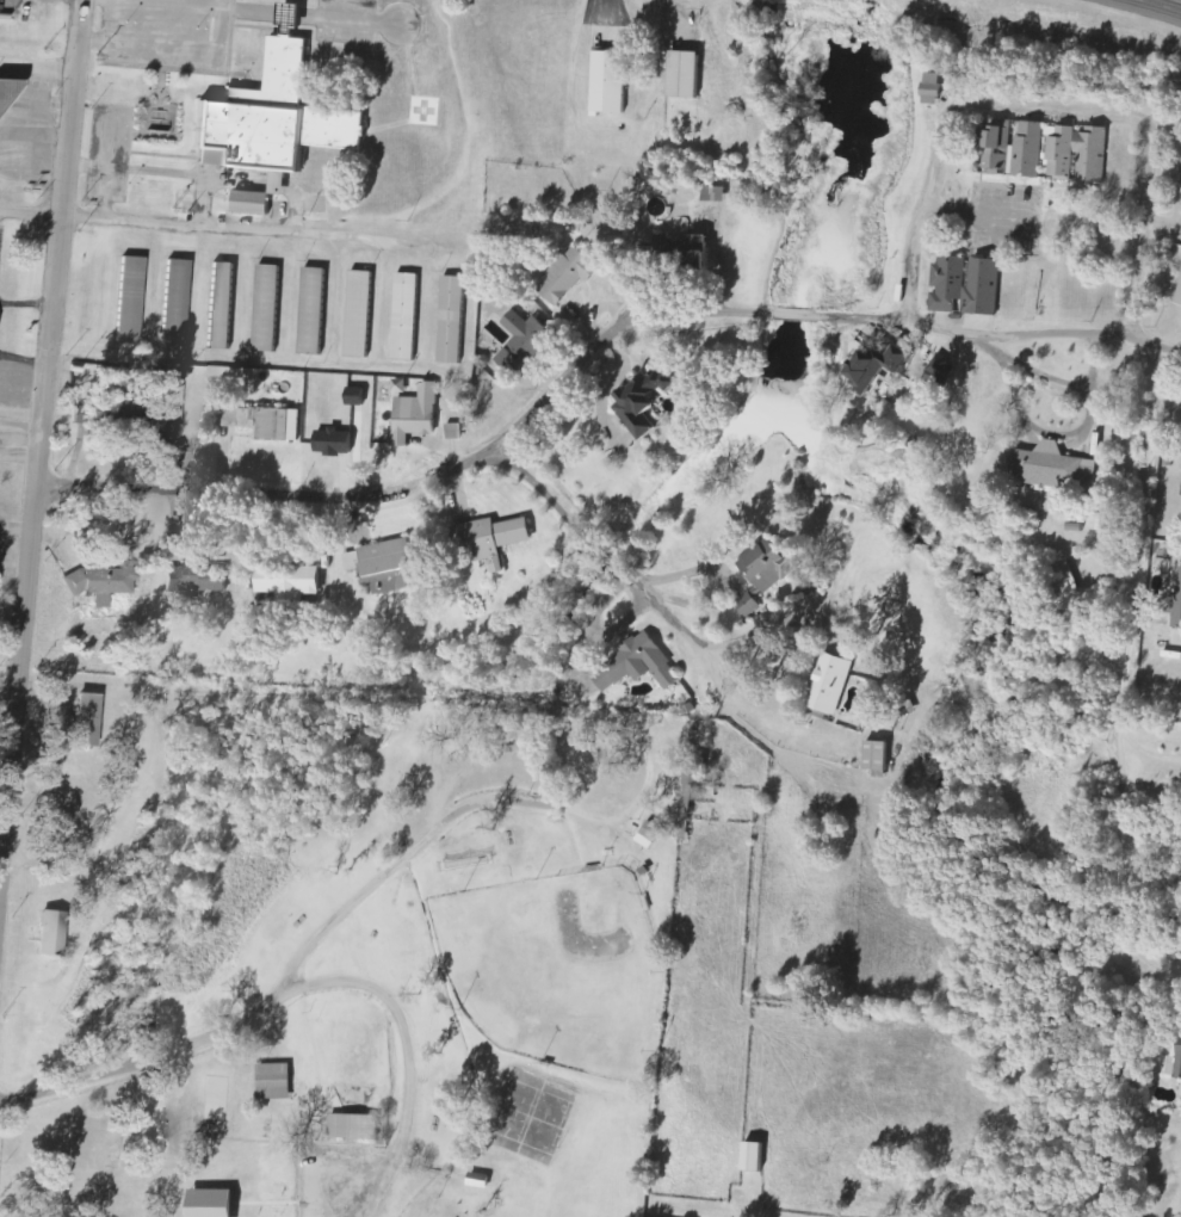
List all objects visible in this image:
road: (1151, 8)
building: (690, 75)
building: (613, 84)
building: (935, 89)
road: (1047, 105)
building: (0, 106)
building: (276, 119)
building: (1016, 150)
building: (1078, 154)
building: (717, 194)
building: (256, 203)
road: (196, 226)
building: (690, 248)
building: (574, 276)
building: (952, 285)
building: (987, 288)
building: (131, 299)
building: (177, 302)
building: (1180, 303)
building: (223, 305)
building: (268, 309)
building: (314, 311)
building: (360, 314)
building: (407, 317)
building: (453, 320)
building: (526, 342)
road: (593, 353)
building: (886, 369)
building: (358, 397)
building: (648, 401)
building: (419, 415)
road: (20, 424)
building: (270, 424)
building: (153, 428)
building: (338, 443)
road: (38, 450)
building: (1055, 467)
building: (1100, 523)
building: (497, 537)
road: (600, 551)
building: (387, 566)
building: (771, 566)
building: (1069, 577)
building: (199, 579)
building: (293, 582)
building: (103, 583)
building: (753, 606)
road: (1180, 648)
building: (641, 667)
road: (1120, 678)
building: (834, 684)
building: (92, 721)
road: (1144, 752)
building: (882, 760)
road: (2, 835)
building: (653, 835)
building: (1069, 840)
building: (56, 934)
road: (304, 994)
building: (1174, 1060)
building: (277, 1082)
building: (217, 1098)
building: (353, 1128)
building: (749, 1157)
building: (477, 1181)
building: (209, 1204)

